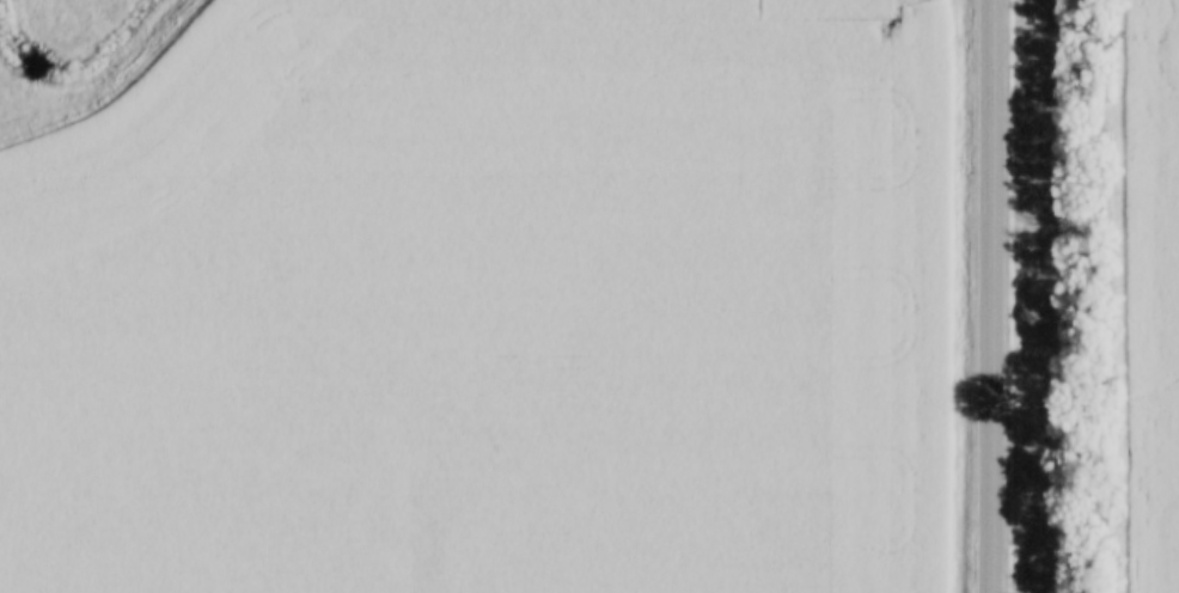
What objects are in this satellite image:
road: (991, 296)

